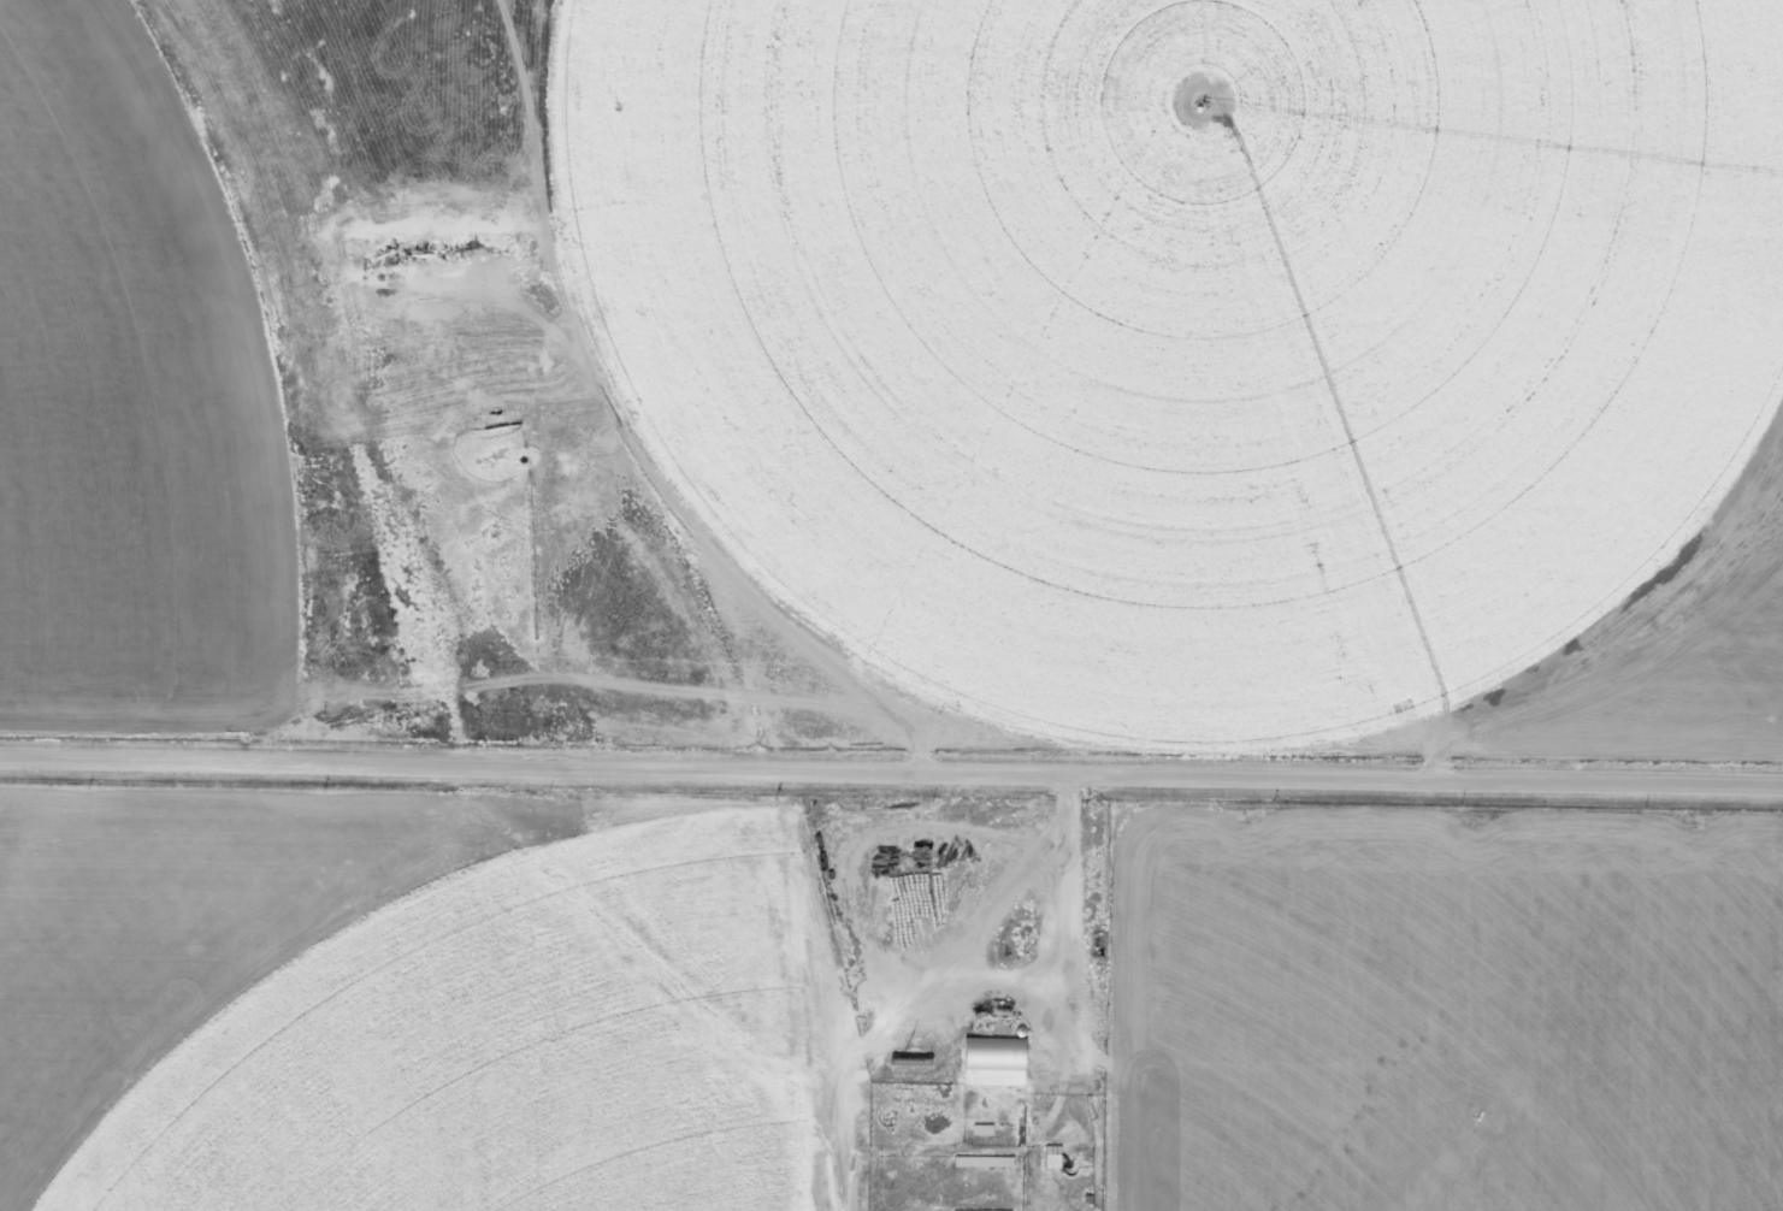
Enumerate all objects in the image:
road: (891, 772)
crop: (884, 1004)

